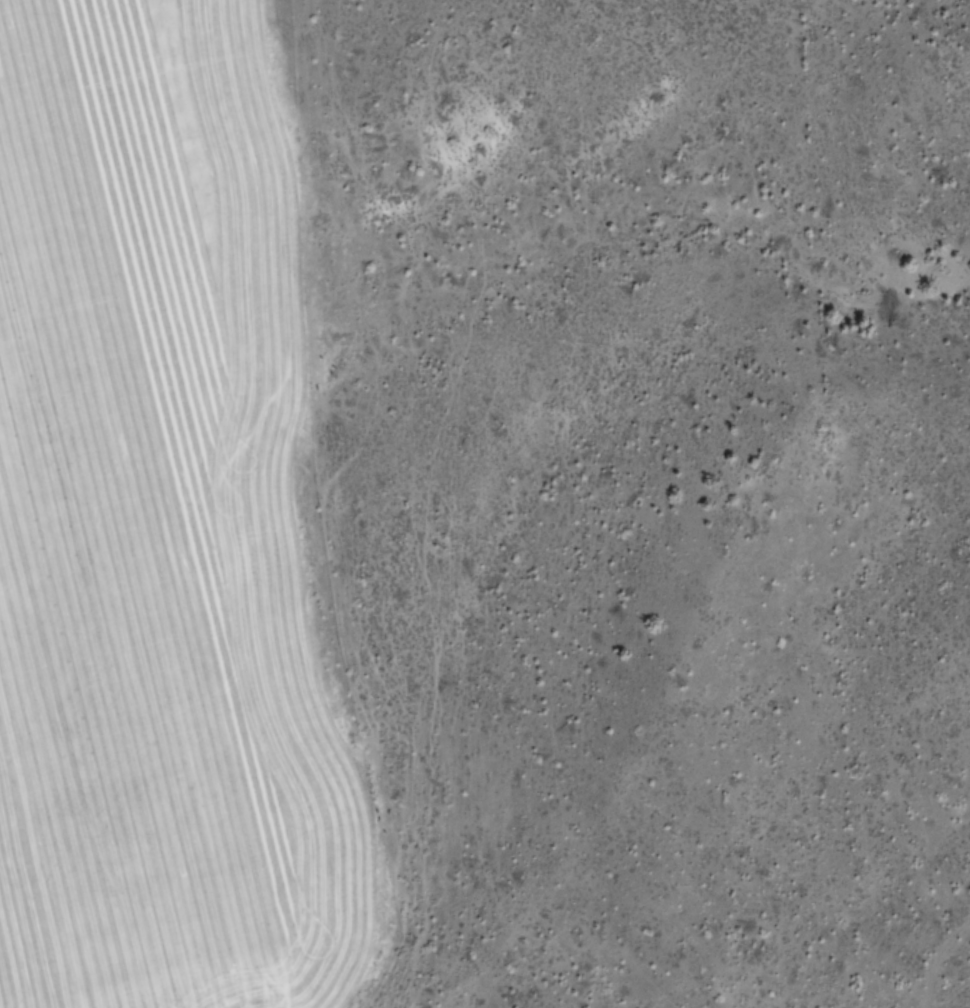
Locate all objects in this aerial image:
crop: (168, 527)
road: (6, 983)

